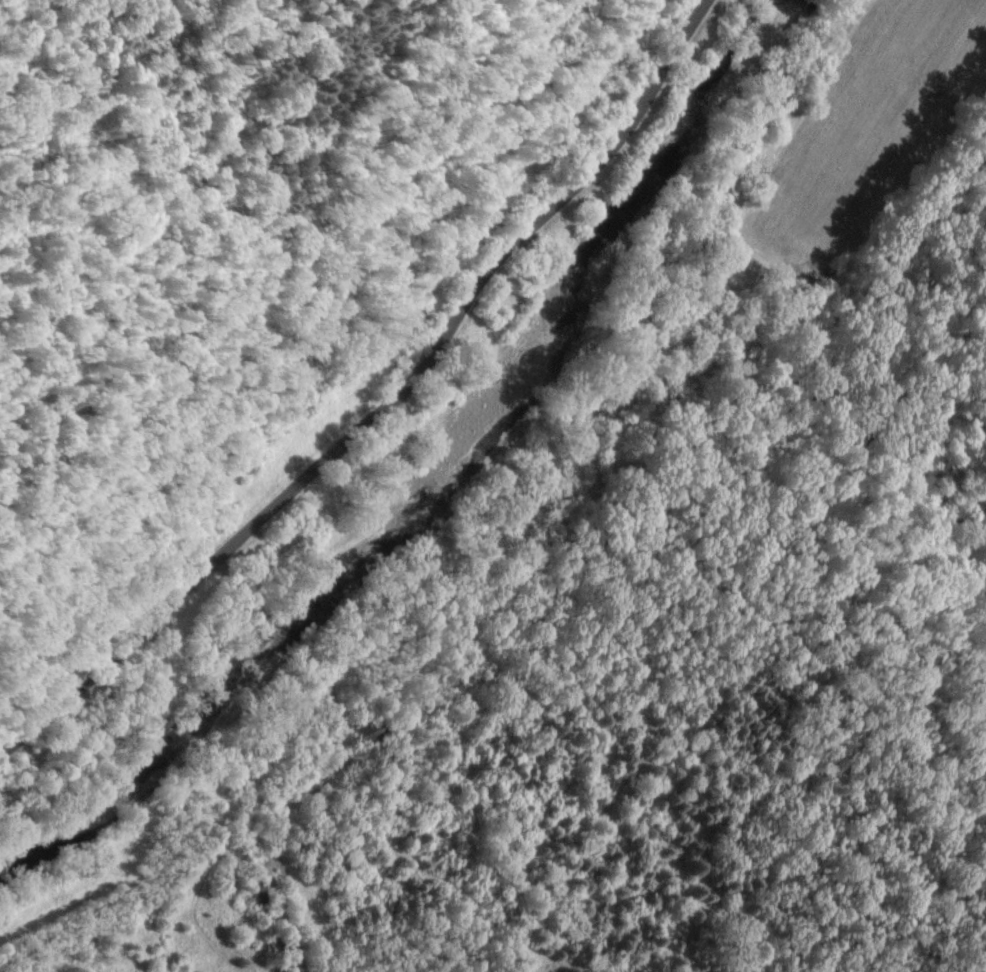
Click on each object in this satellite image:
road: (371, 393)
road: (231, 608)

